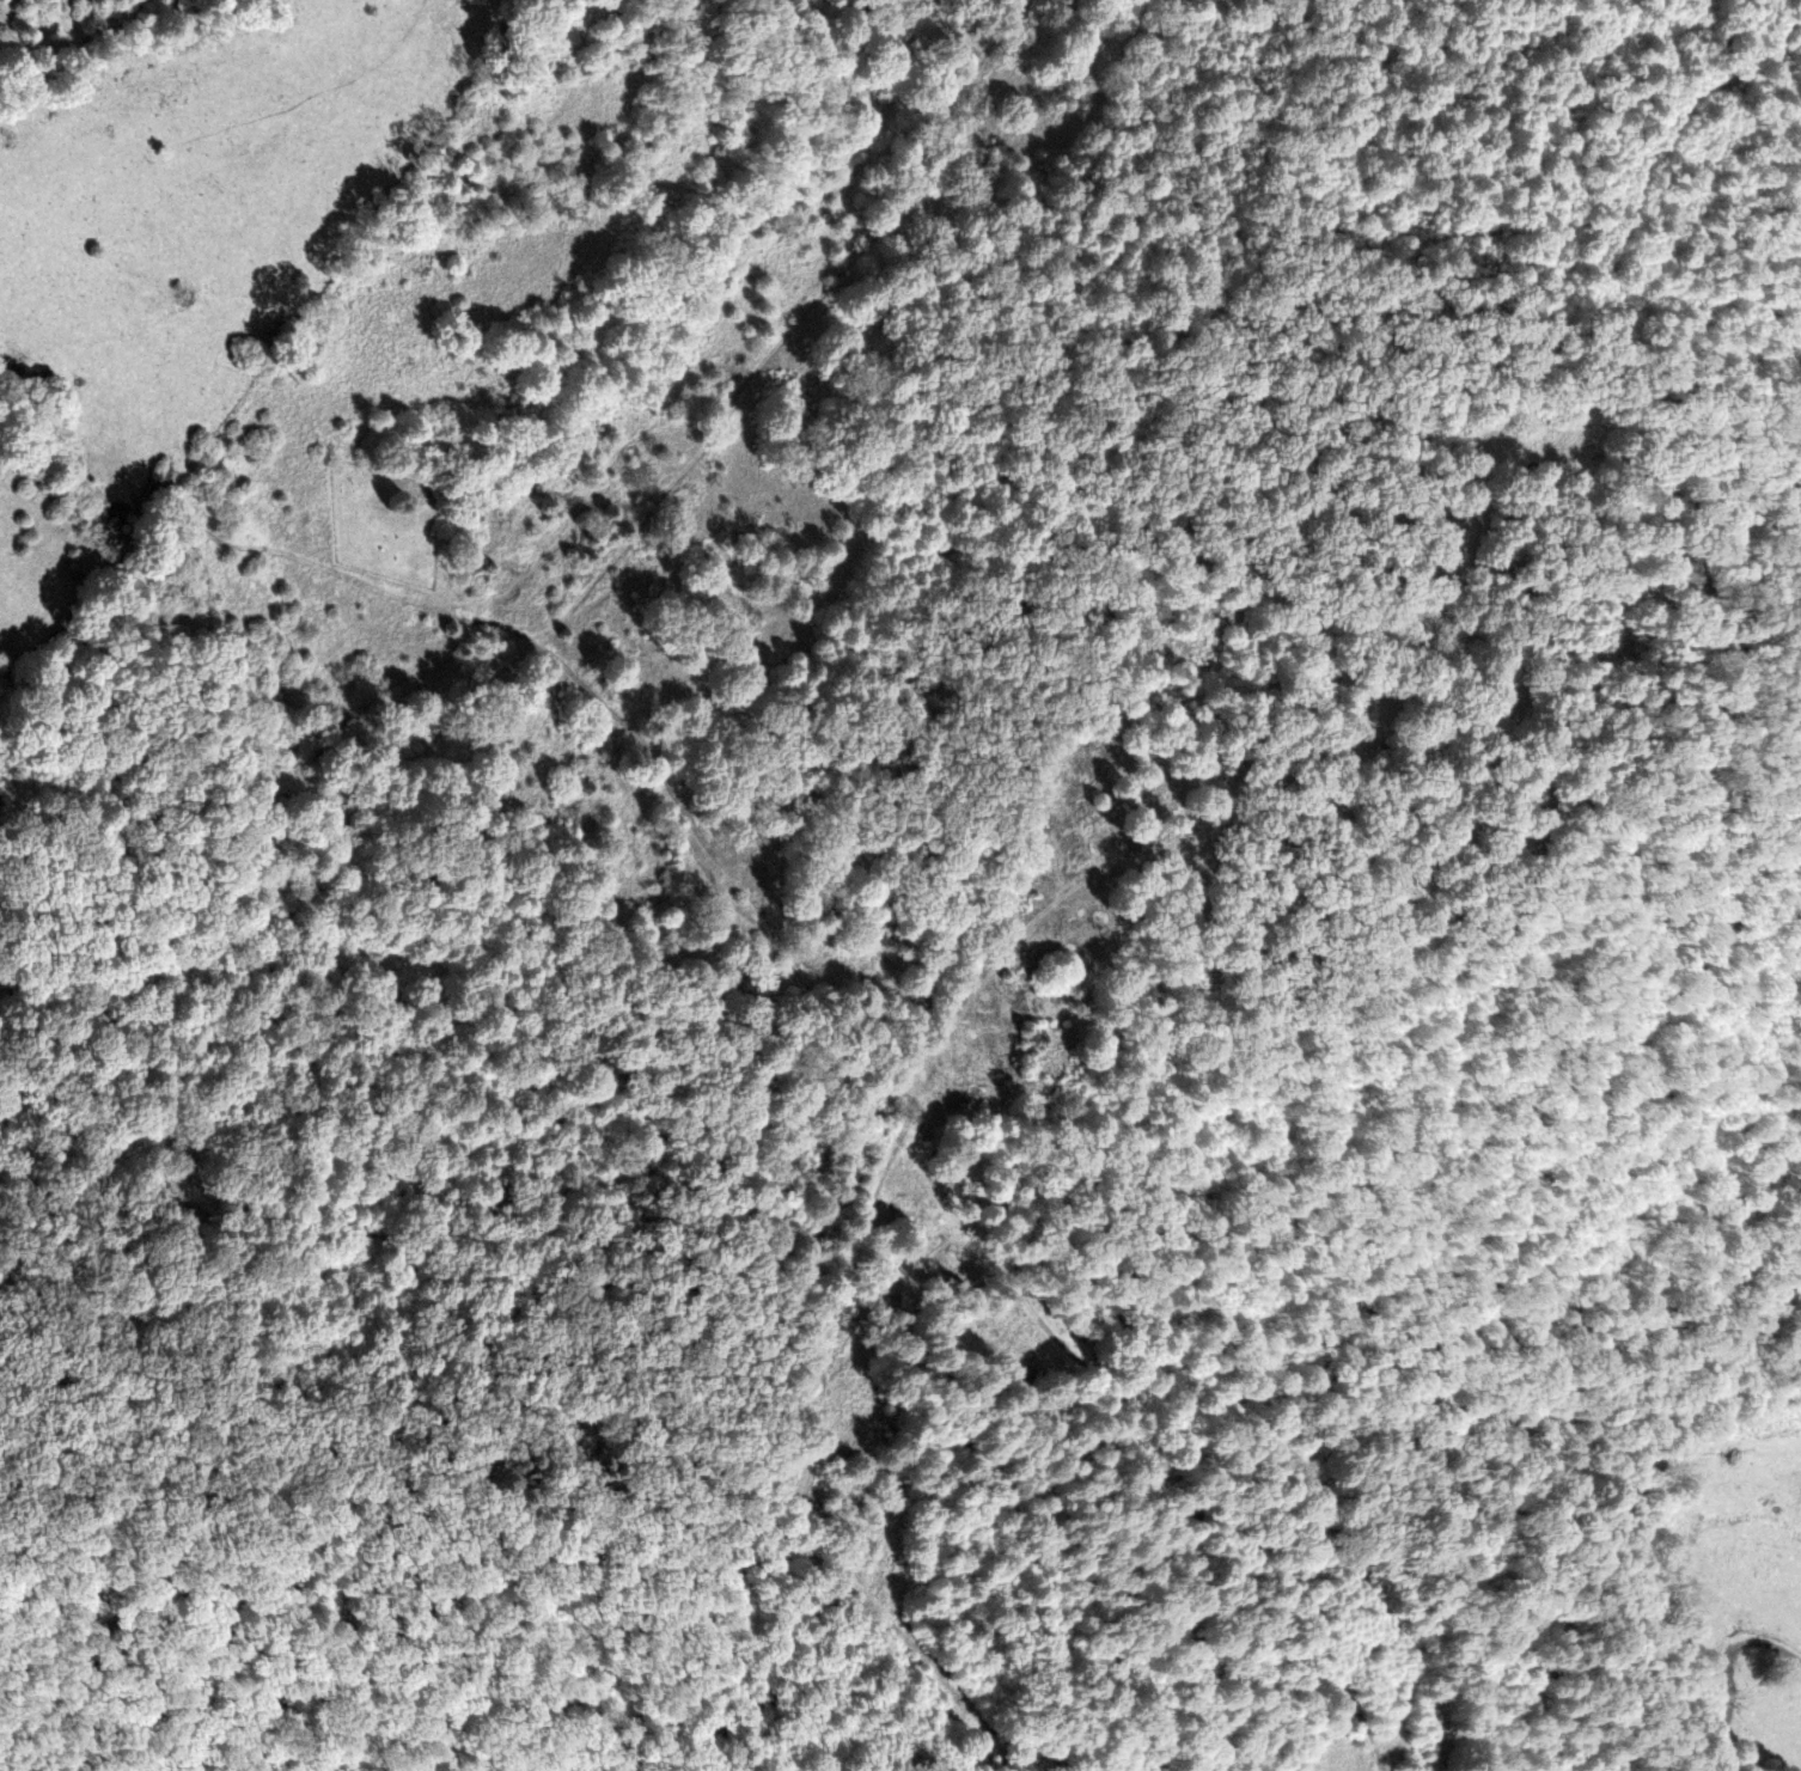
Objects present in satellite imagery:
road: (1150, 857)
road: (1728, 1672)

